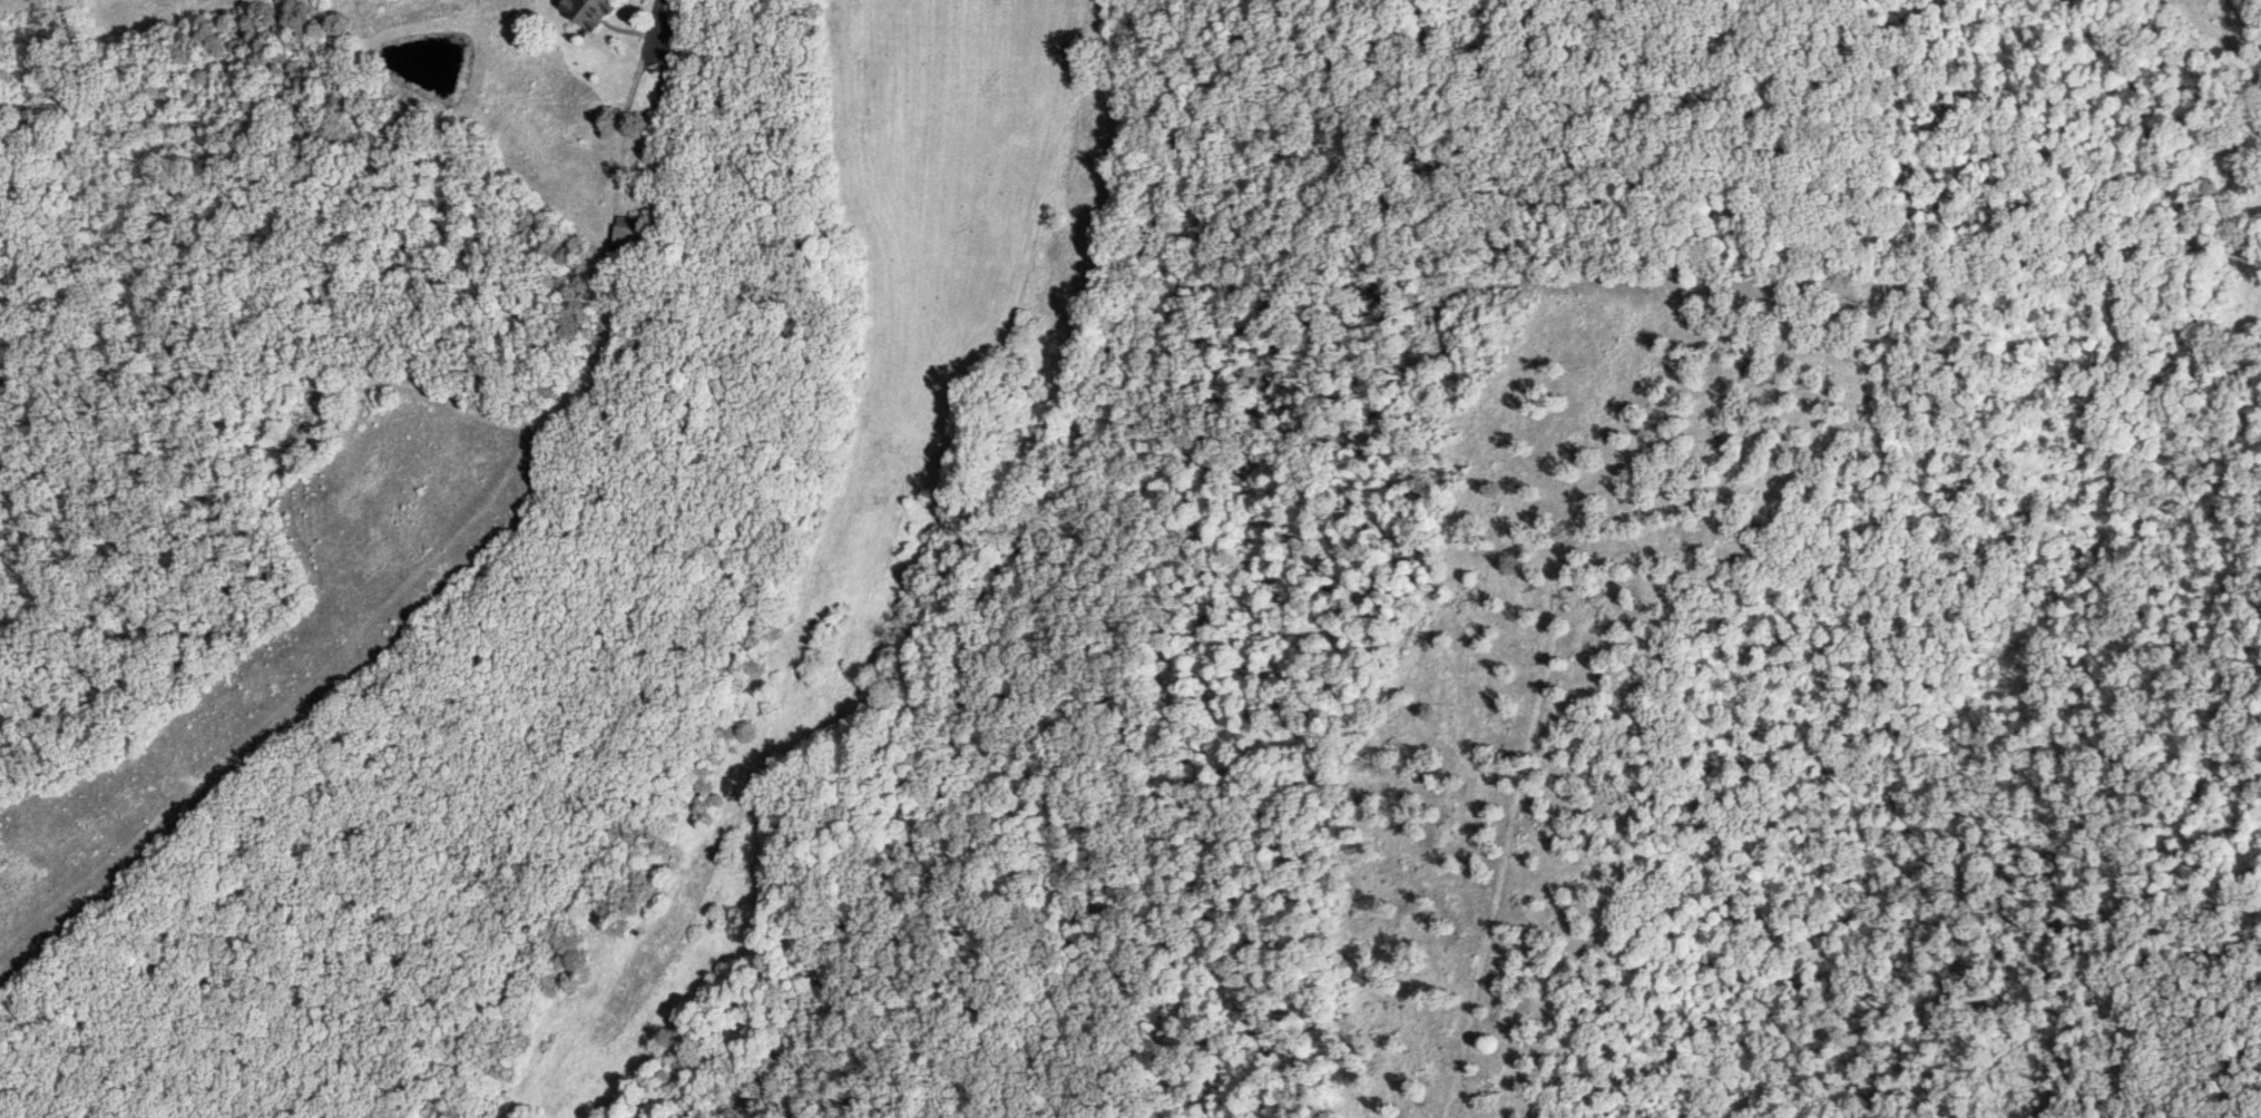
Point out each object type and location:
building: (583, 12)
road: (606, 223)
building: (619, 232)

